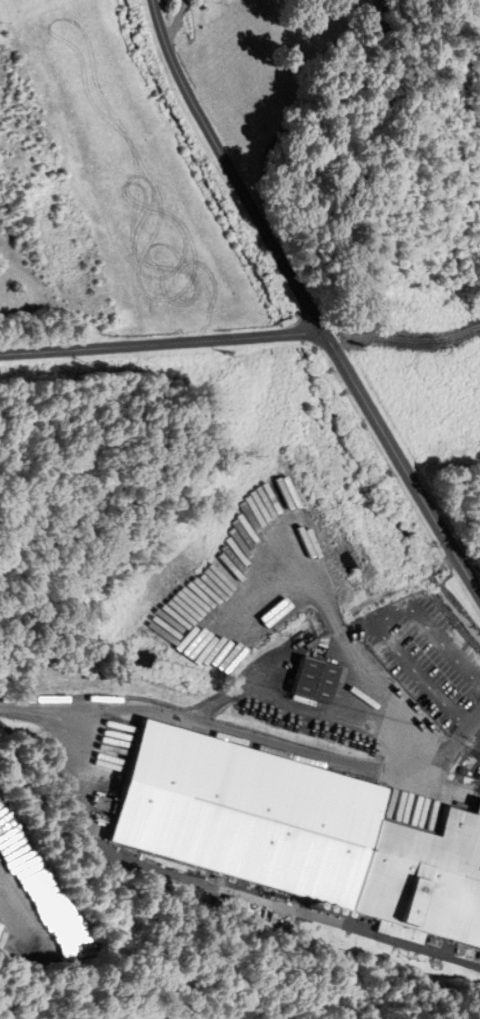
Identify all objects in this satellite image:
road: (175, 24)
road: (231, 169)
road: (282, 343)
road: (162, 345)
road: (401, 464)
building: (228, 617)
road: (346, 641)
building: (307, 680)
road: (246, 688)
building: (340, 730)
building: (301, 836)
road: (8, 908)

